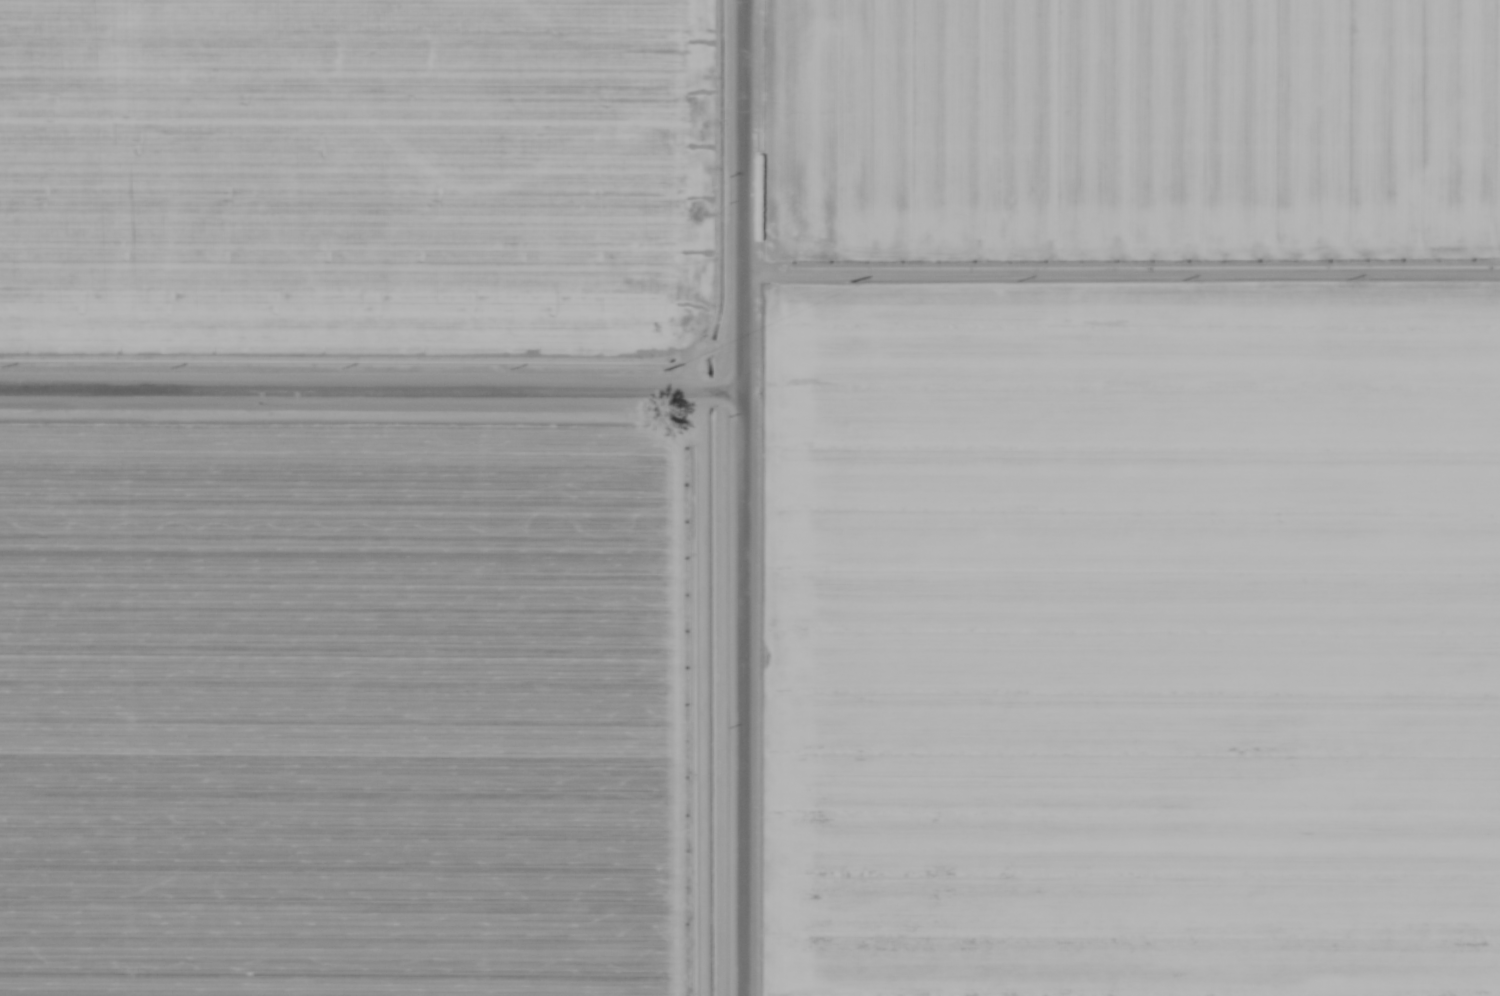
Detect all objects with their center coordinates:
road: (381, 396)
road: (761, 498)

